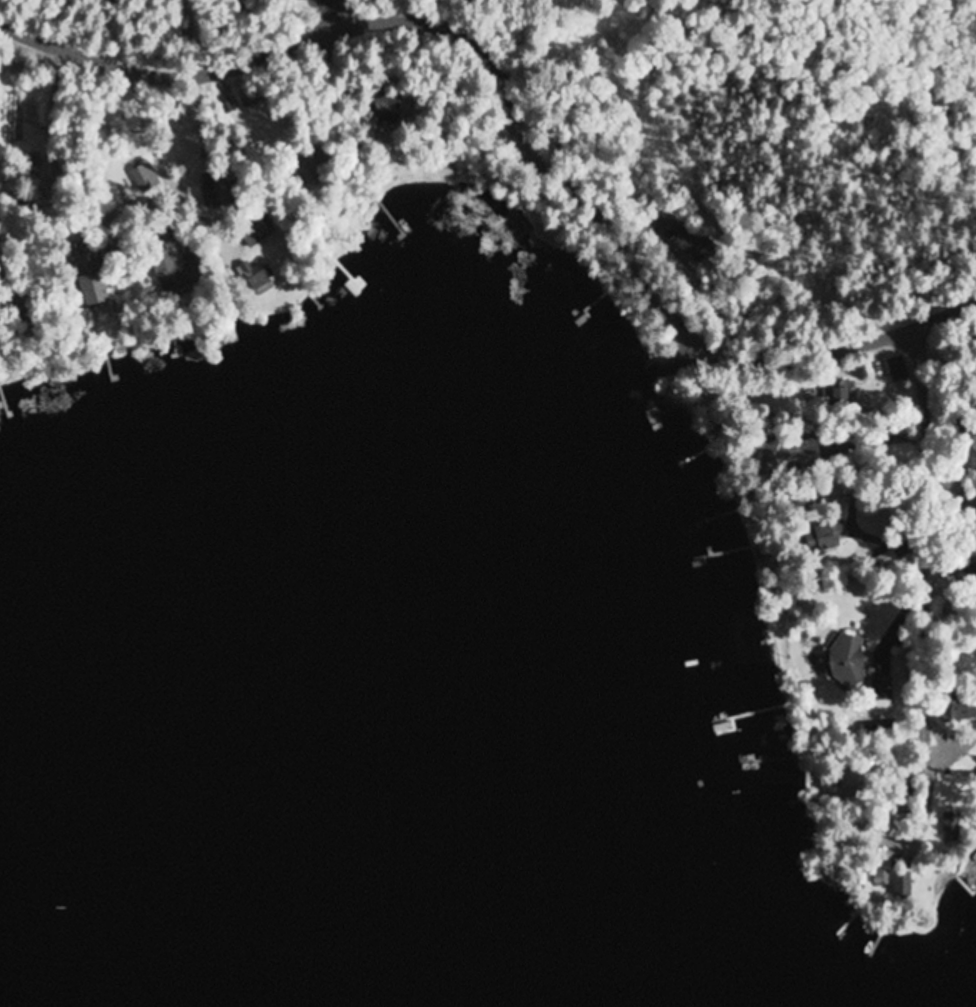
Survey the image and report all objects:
road: (426, 83)
building: (246, 100)
building: (386, 113)
road: (514, 116)
building: (305, 166)
building: (143, 178)
road: (100, 182)
building: (215, 190)
building: (257, 229)
building: (690, 249)
building: (171, 274)
building: (257, 275)
building: (92, 279)
road: (678, 349)
building: (897, 370)
building: (843, 395)
road: (947, 426)
building: (797, 453)
building: (827, 538)
road: (921, 570)
building: (849, 660)
building: (882, 689)
building: (956, 707)
building: (951, 827)
building: (881, 879)
building: (903, 886)

